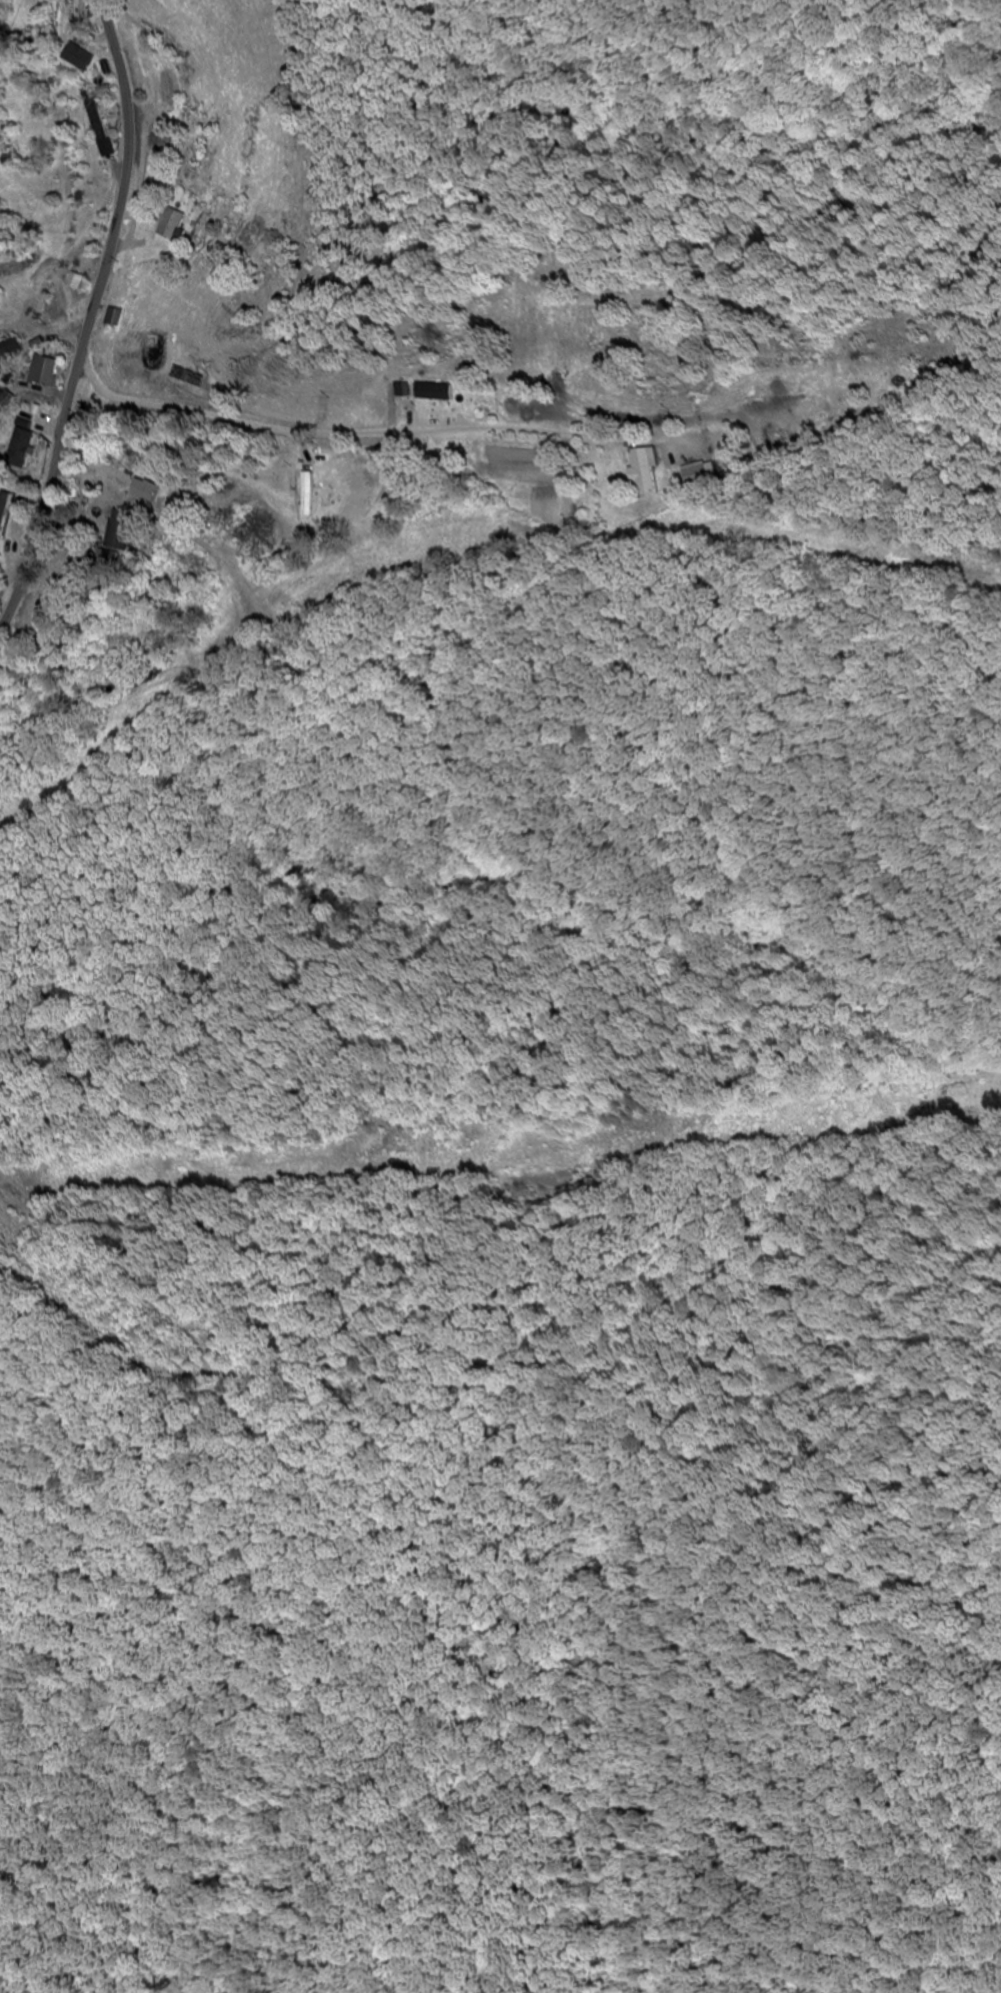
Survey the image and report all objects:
building: (81, 58)
building: (102, 131)
building: (175, 227)
building: (78, 282)
building: (115, 318)
road: (95, 322)
building: (49, 372)
building: (192, 377)
building: (439, 393)
building: (2, 396)
building: (25, 449)
building: (648, 471)
building: (702, 474)

